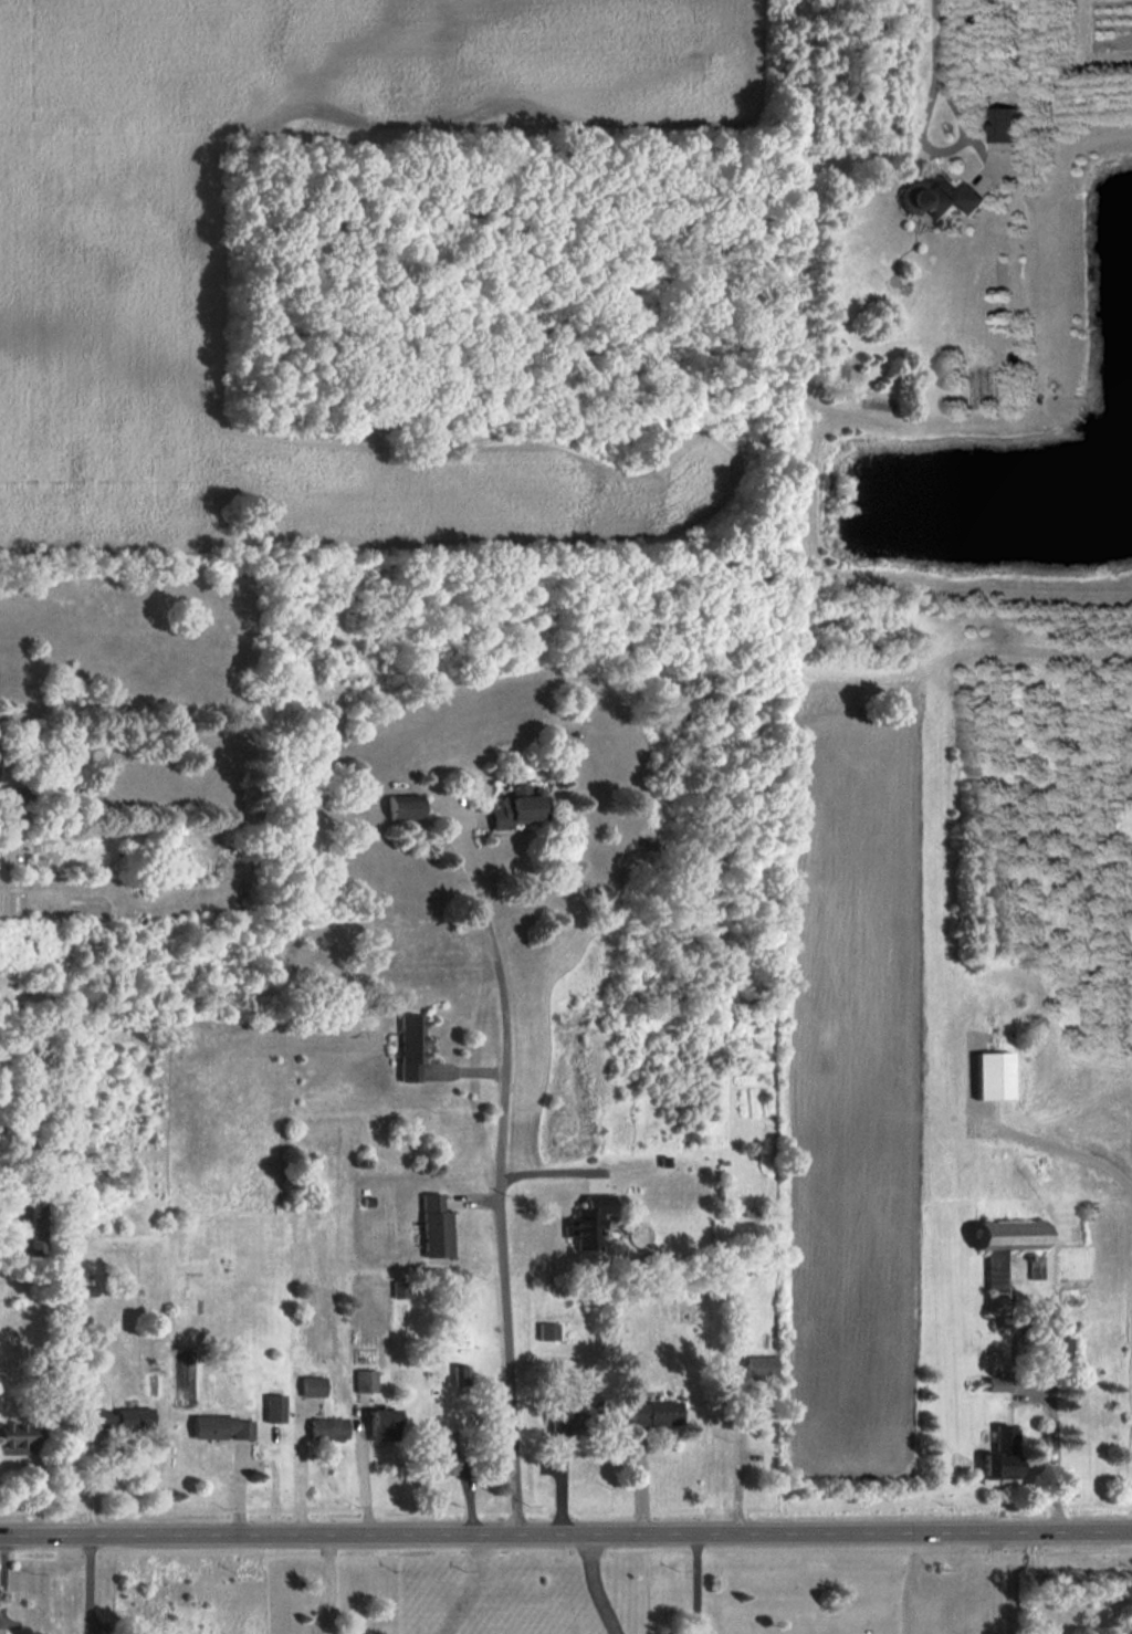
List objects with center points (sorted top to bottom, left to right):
road: (934, 46)
building: (1004, 128)
building: (942, 198)
building: (403, 807)
building: (517, 807)
building: (411, 1047)
building: (994, 1075)
road: (500, 1167)
building: (437, 1226)
building: (30, 1228)
building: (1035, 1264)
building: (399, 1289)
building: (548, 1330)
building: (762, 1372)
building: (462, 1376)
building: (366, 1381)
building: (998, 1383)
building: (312, 1386)
building: (275, 1408)
building: (574, 1413)
building: (656, 1413)
building: (134, 1418)
building: (103, 1420)
building: (384, 1424)
building: (221, 1427)
building: (327, 1428)
building: (19, 1438)
road: (1056, 1450)
building: (444, 1455)
building: (1000, 1455)
road: (298, 1463)
road: (738, 1463)
road: (565, 1530)
road: (994, 1581)
road: (1033, 1581)
road: (329, 1582)
road: (693, 1582)
road: (87, 1583)
road: (591, 1583)

